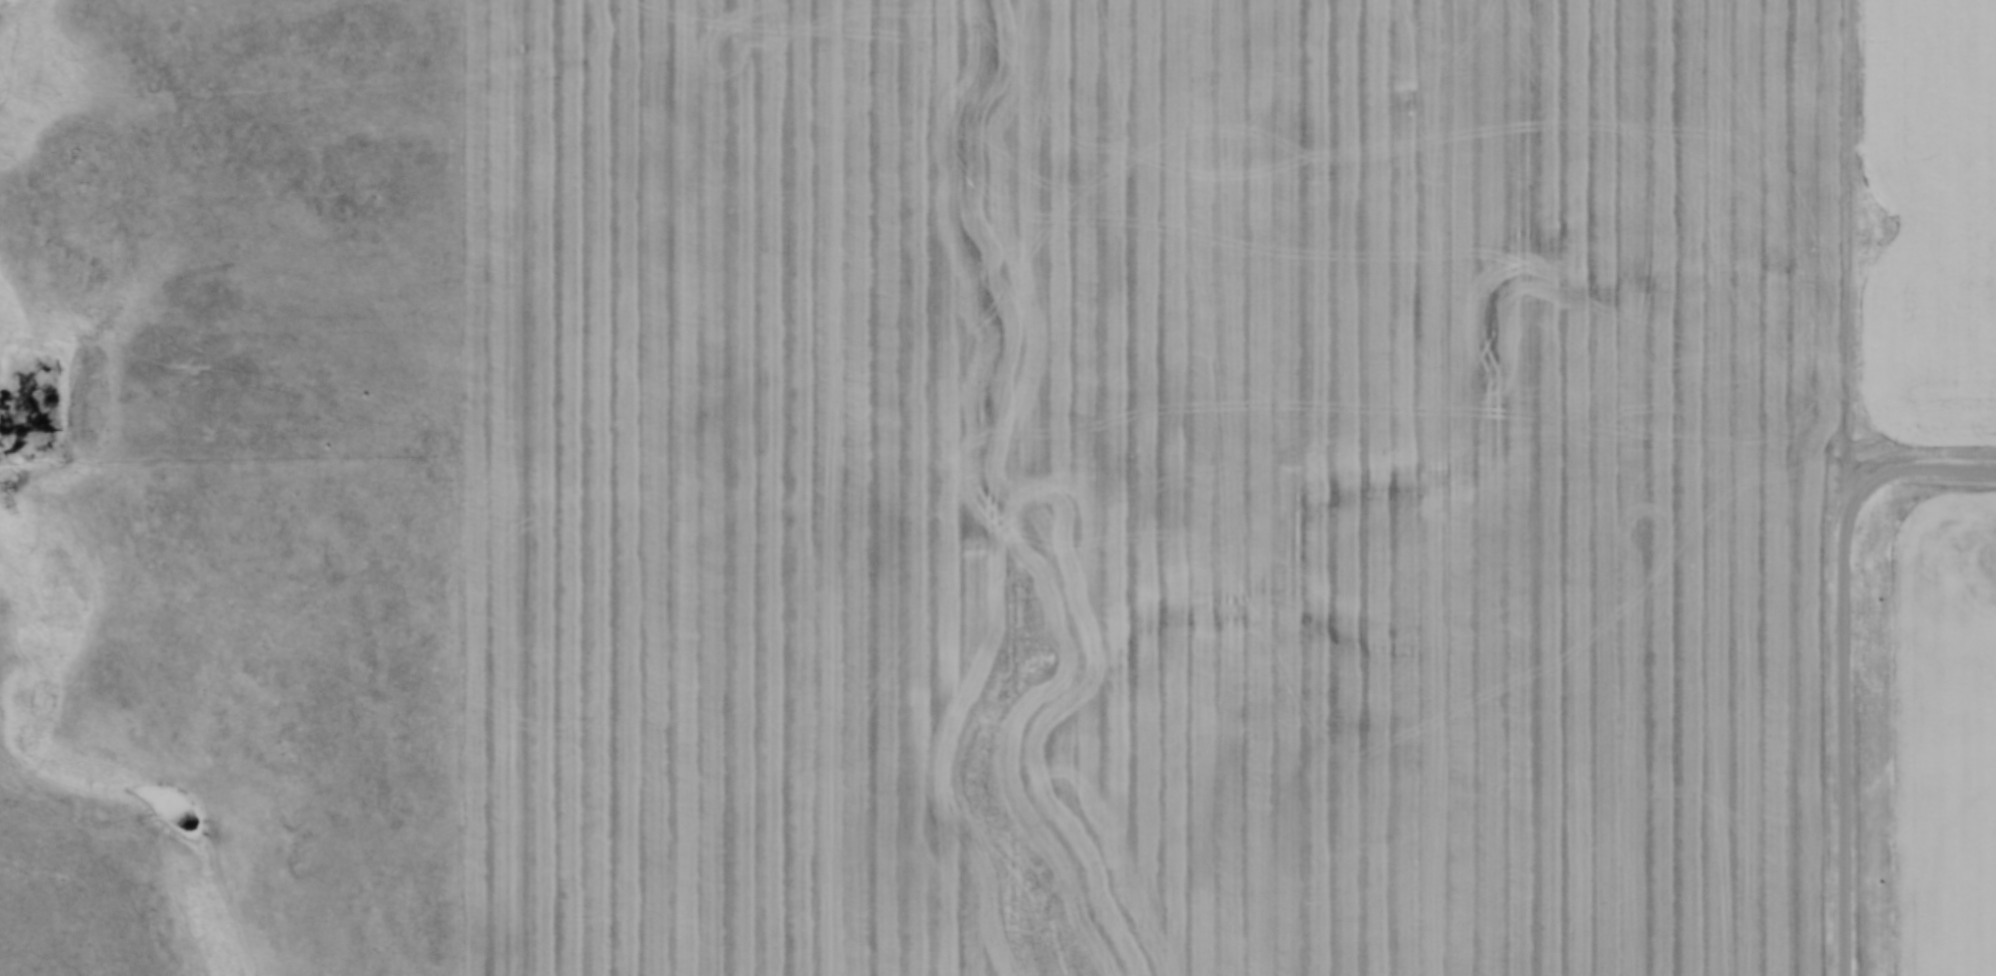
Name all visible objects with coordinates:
road: (1857, 236)
road: (1923, 473)
road: (1847, 724)

